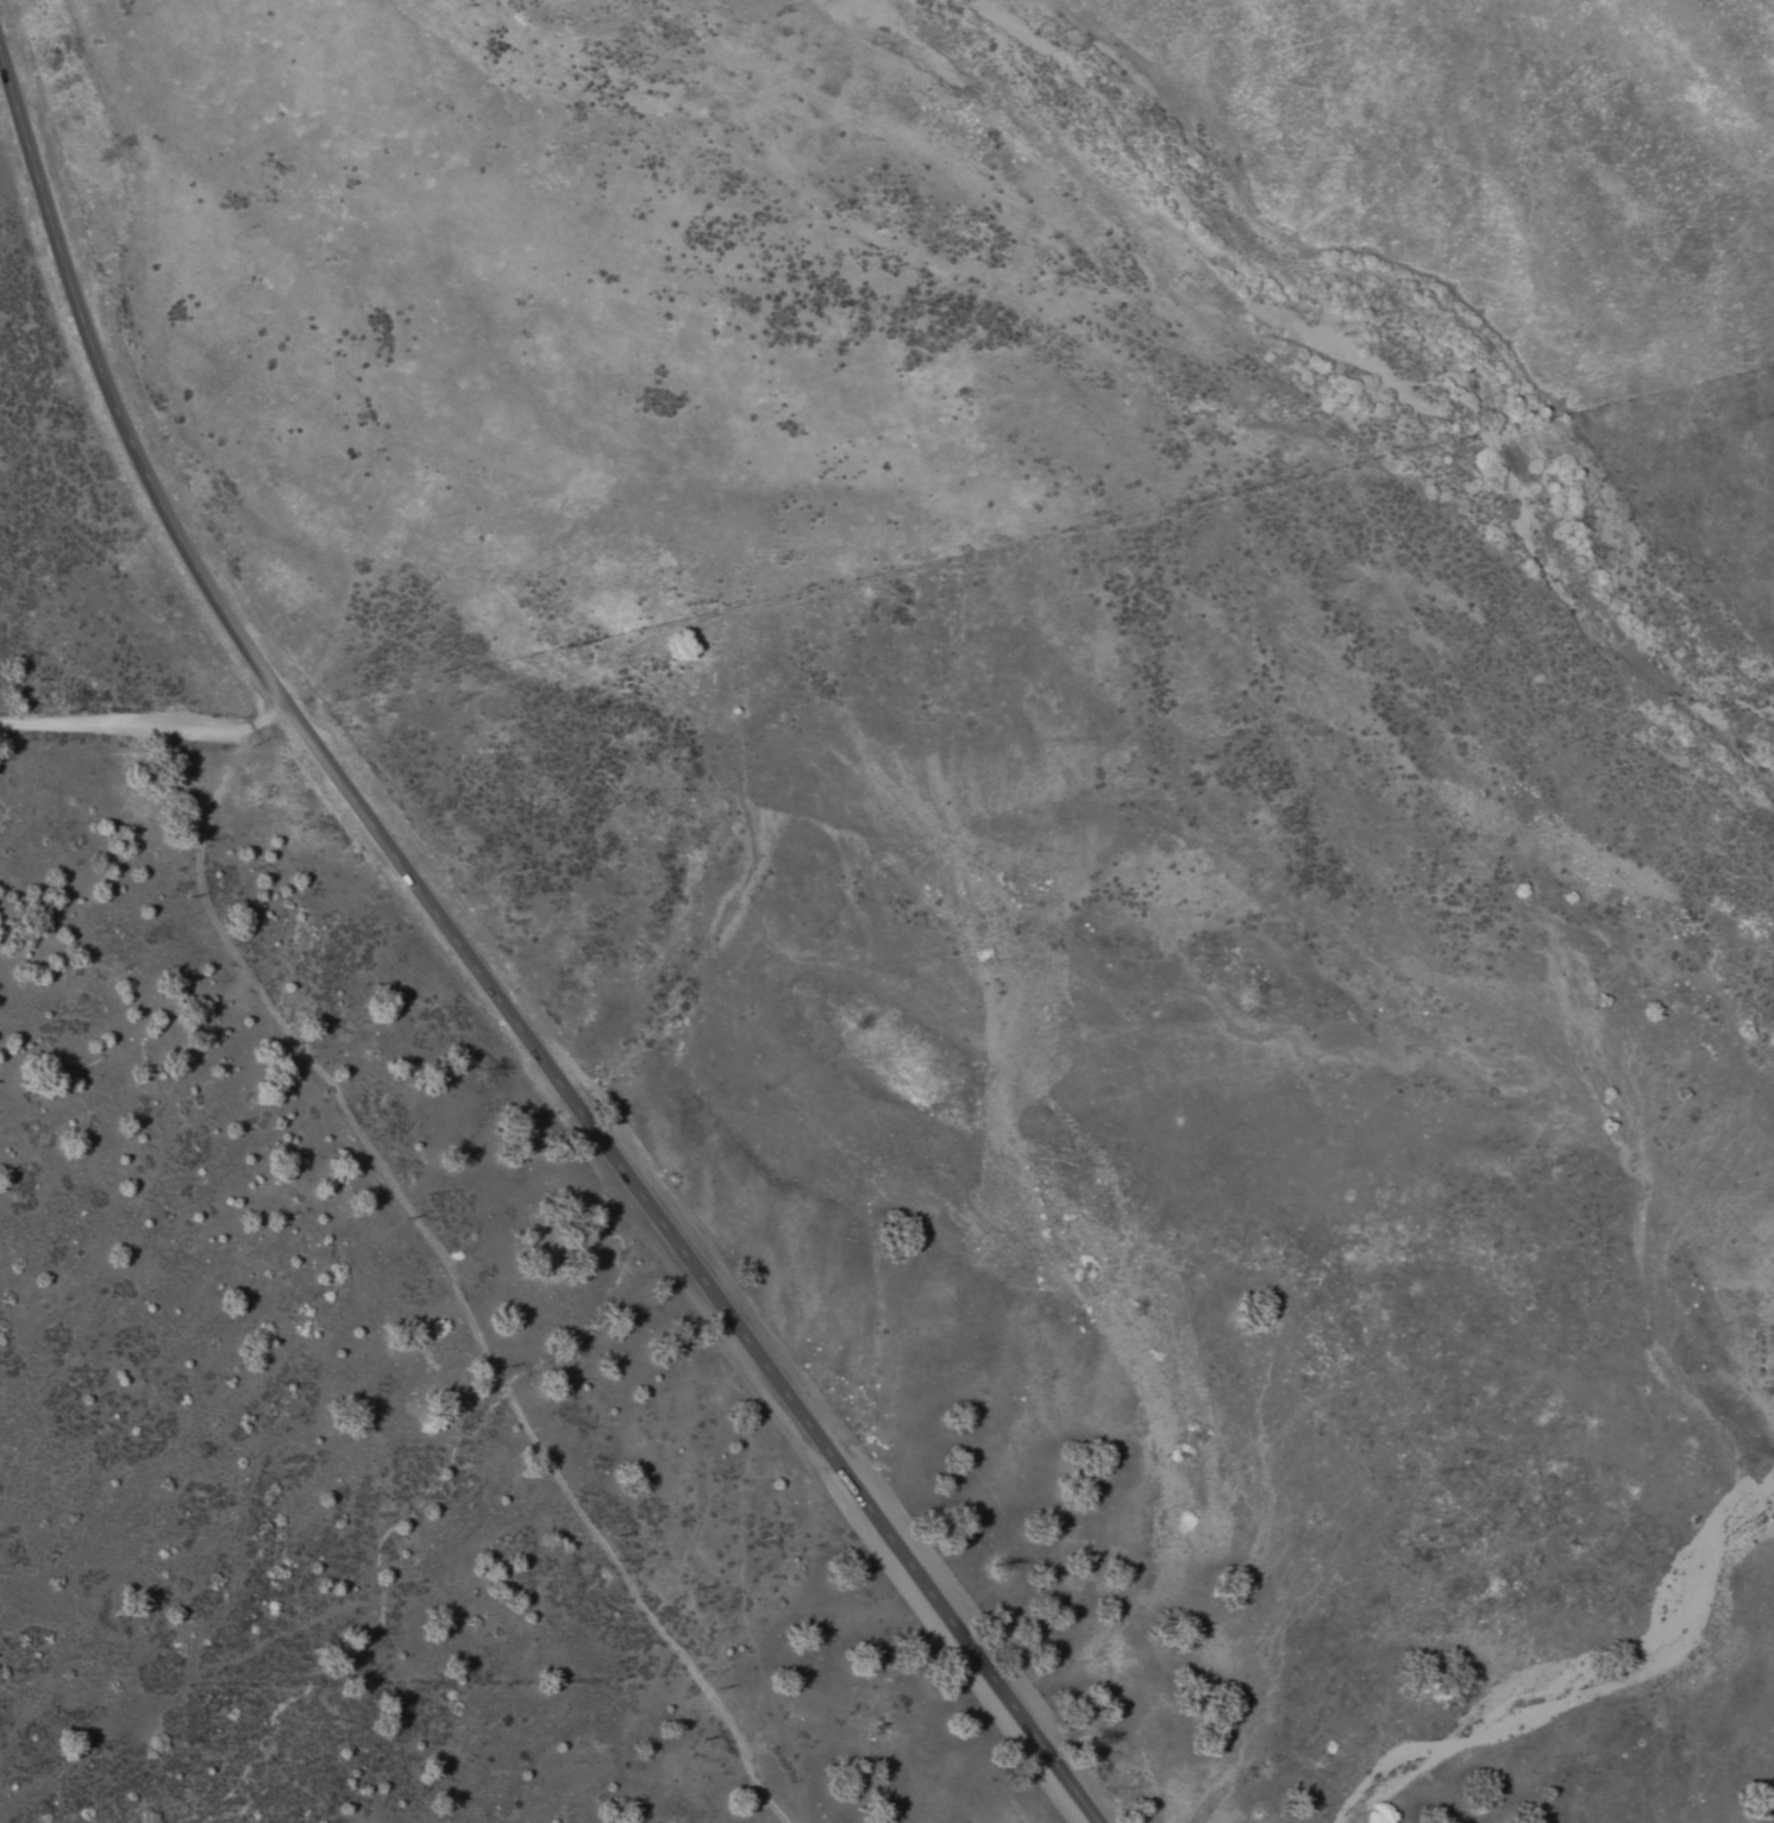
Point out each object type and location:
river: (1378, 358)
road: (145, 723)
road: (481, 973)
road: (453, 1279)

